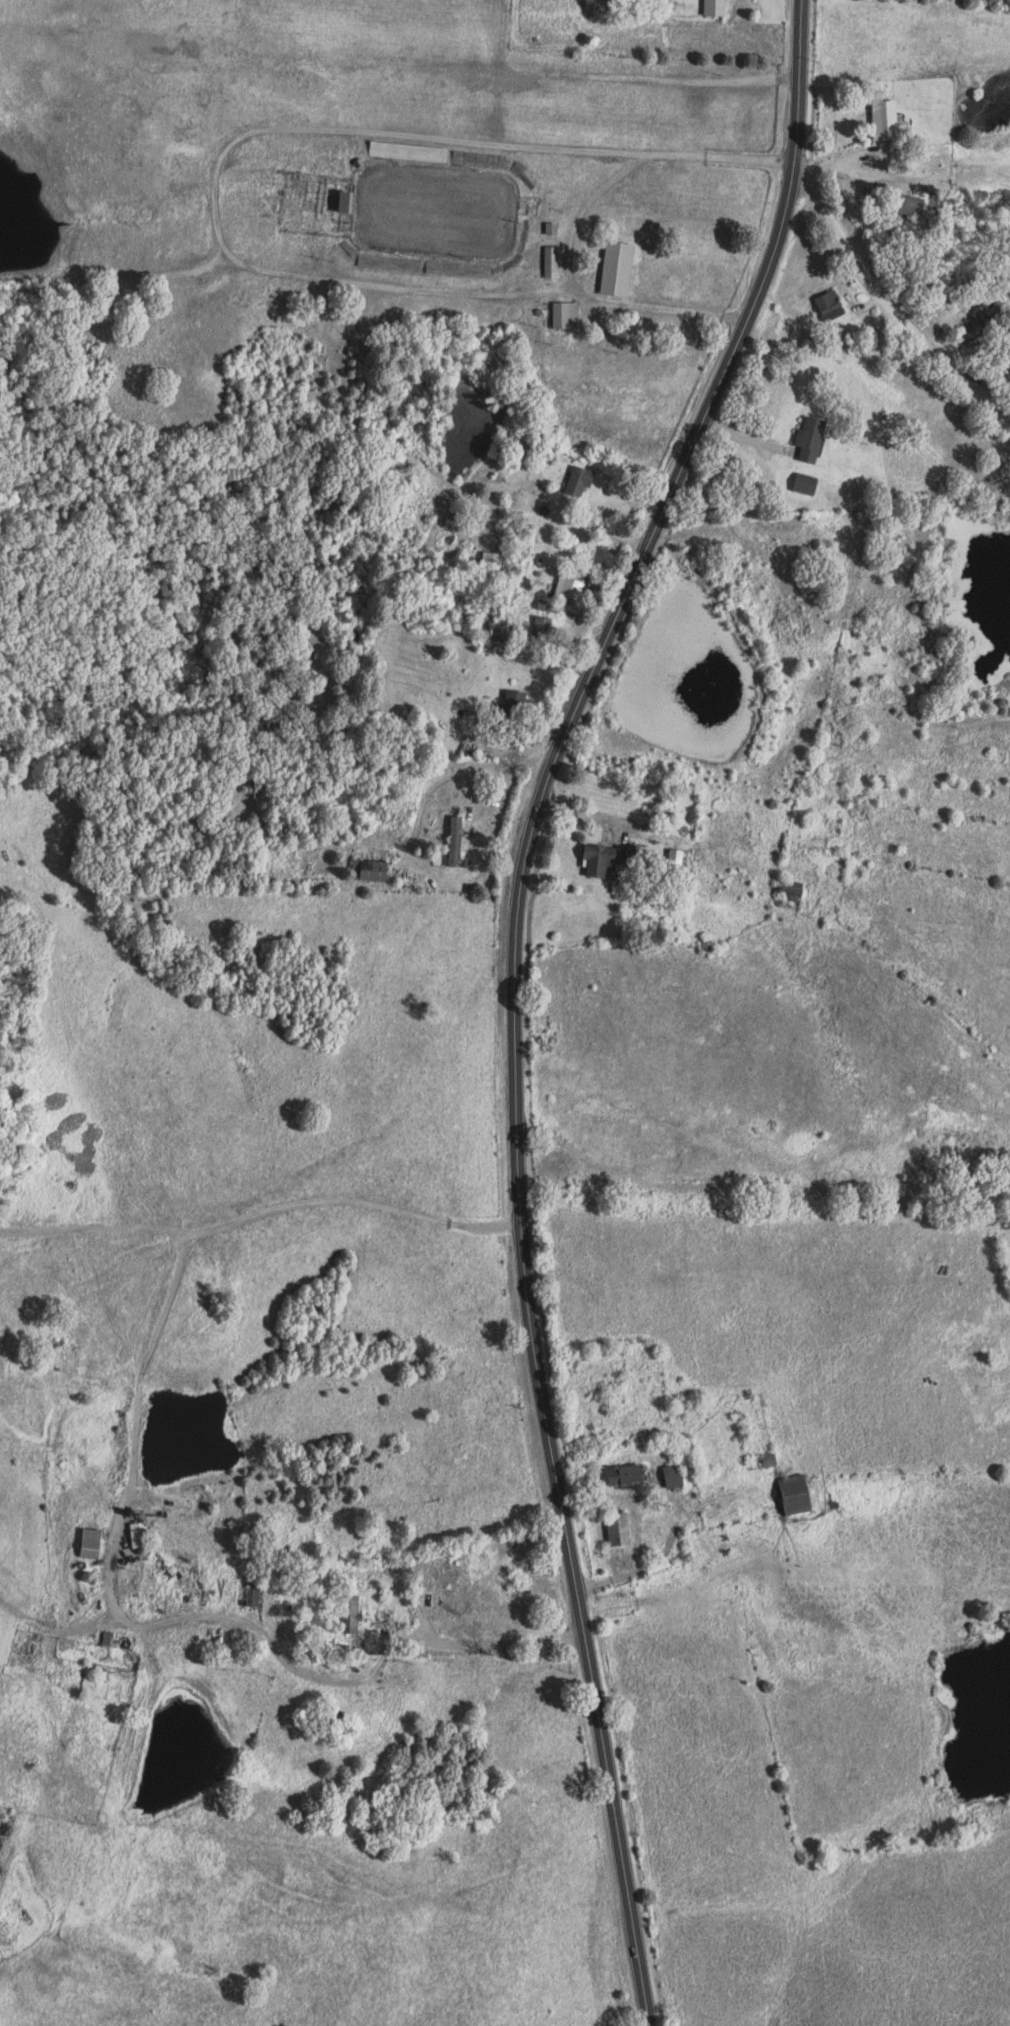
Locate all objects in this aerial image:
building: (721, 7)
building: (891, 120)
building: (354, 202)
building: (919, 205)
park: (431, 213)
building: (557, 228)
building: (556, 262)
building: (624, 269)
building: (837, 305)
road: (893, 305)
building: (570, 314)
building: (818, 438)
building: (585, 481)
building: (814, 483)
building: (571, 588)
building: (521, 703)
building: (609, 859)
building: (382, 871)
road: (513, 991)
building: (633, 1474)
building: (681, 1475)
building: (803, 1494)
building: (146, 1534)
building: (98, 1543)
building: (356, 1611)

